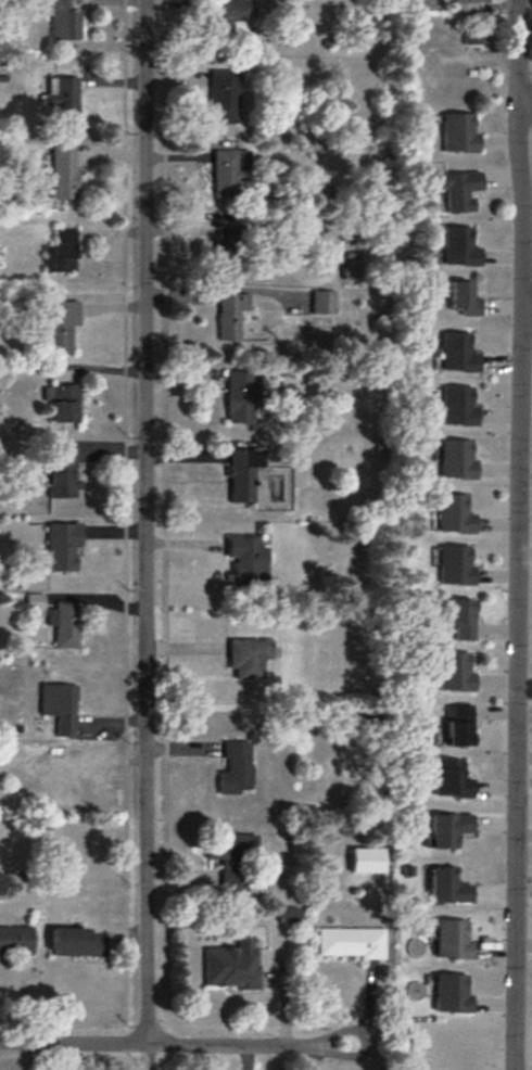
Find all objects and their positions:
building: (472, 1)
building: (228, 16)
building: (63, 20)
road: (517, 50)
building: (63, 97)
building: (225, 98)
road: (524, 101)
building: (460, 133)
building: (65, 173)
building: (231, 175)
building: (460, 192)
building: (457, 246)
building: (63, 253)
building: (230, 254)
building: (352, 276)
building: (464, 301)
building: (324, 304)
road: (525, 307)
building: (232, 316)
building: (62, 327)
building: (458, 354)
building: (241, 397)
building: (65, 404)
building: (459, 406)
building: (459, 459)
building: (64, 473)
building: (244, 474)
building: (456, 514)
road: (147, 522)
building: (243, 545)
building: (63, 546)
building: (457, 565)
road: (517, 585)
building: (465, 620)
building: (65, 625)
building: (249, 658)
building: (457, 671)
building: (61, 708)
building: (463, 725)
building: (237, 768)
building: (59, 776)
building: (453, 779)
building: (451, 829)
building: (369, 861)
building: (233, 865)
building: (449, 887)
building: (455, 940)
building: (16, 941)
building: (78, 943)
building: (352, 943)
building: (233, 966)
building: (454, 994)
road: (174, 1044)

